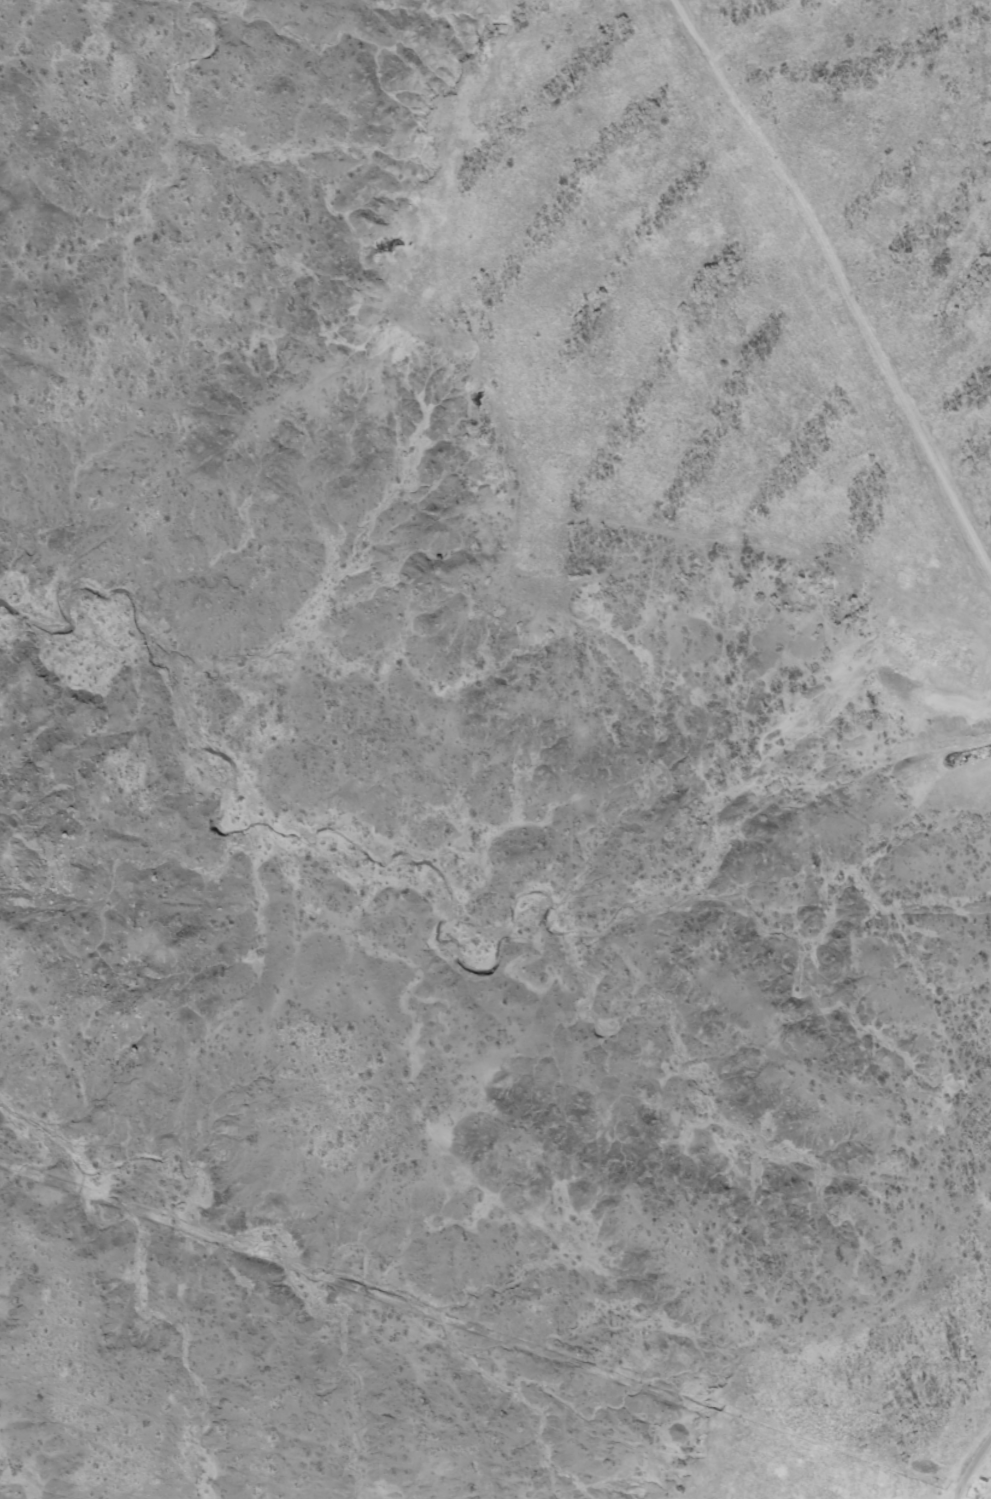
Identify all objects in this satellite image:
road: (245, 1492)
road: (990, 1498)

